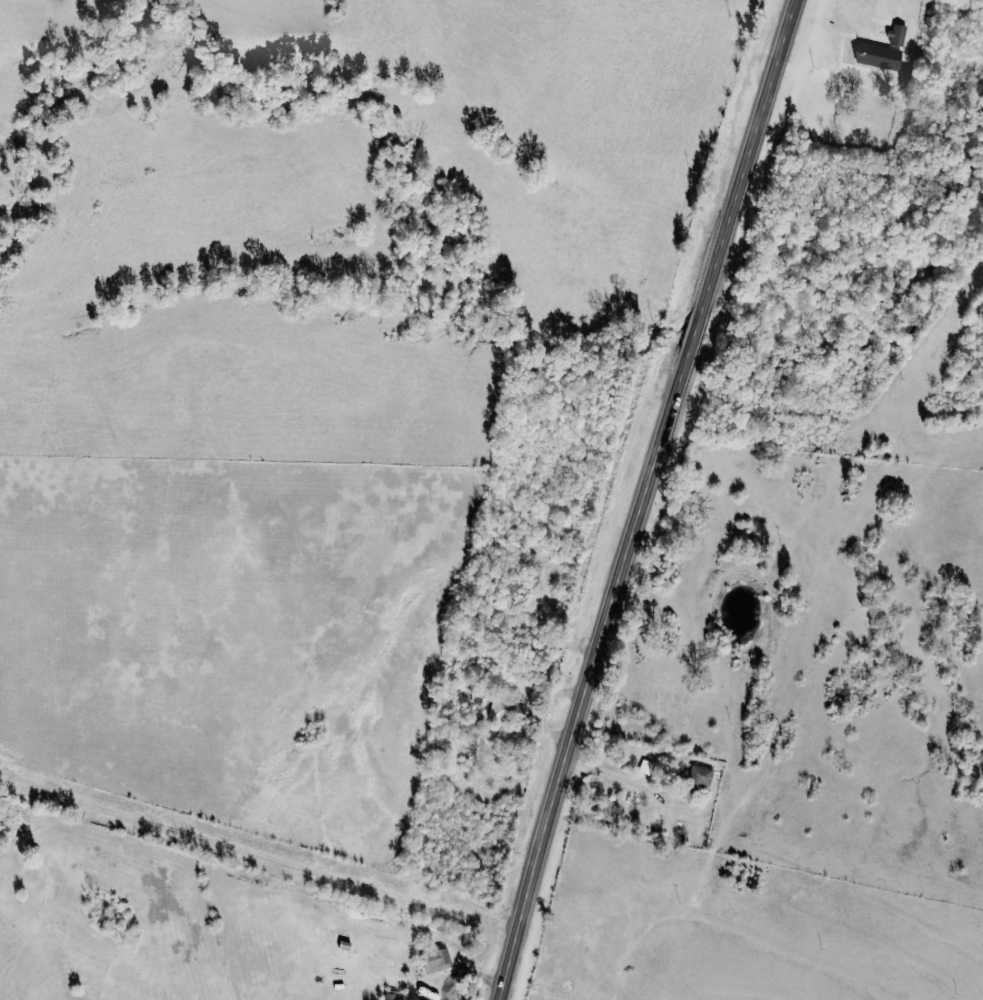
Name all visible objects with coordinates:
building: (899, 34)
building: (879, 56)
road: (642, 498)
building: (509, 709)
building: (702, 775)
building: (438, 960)

